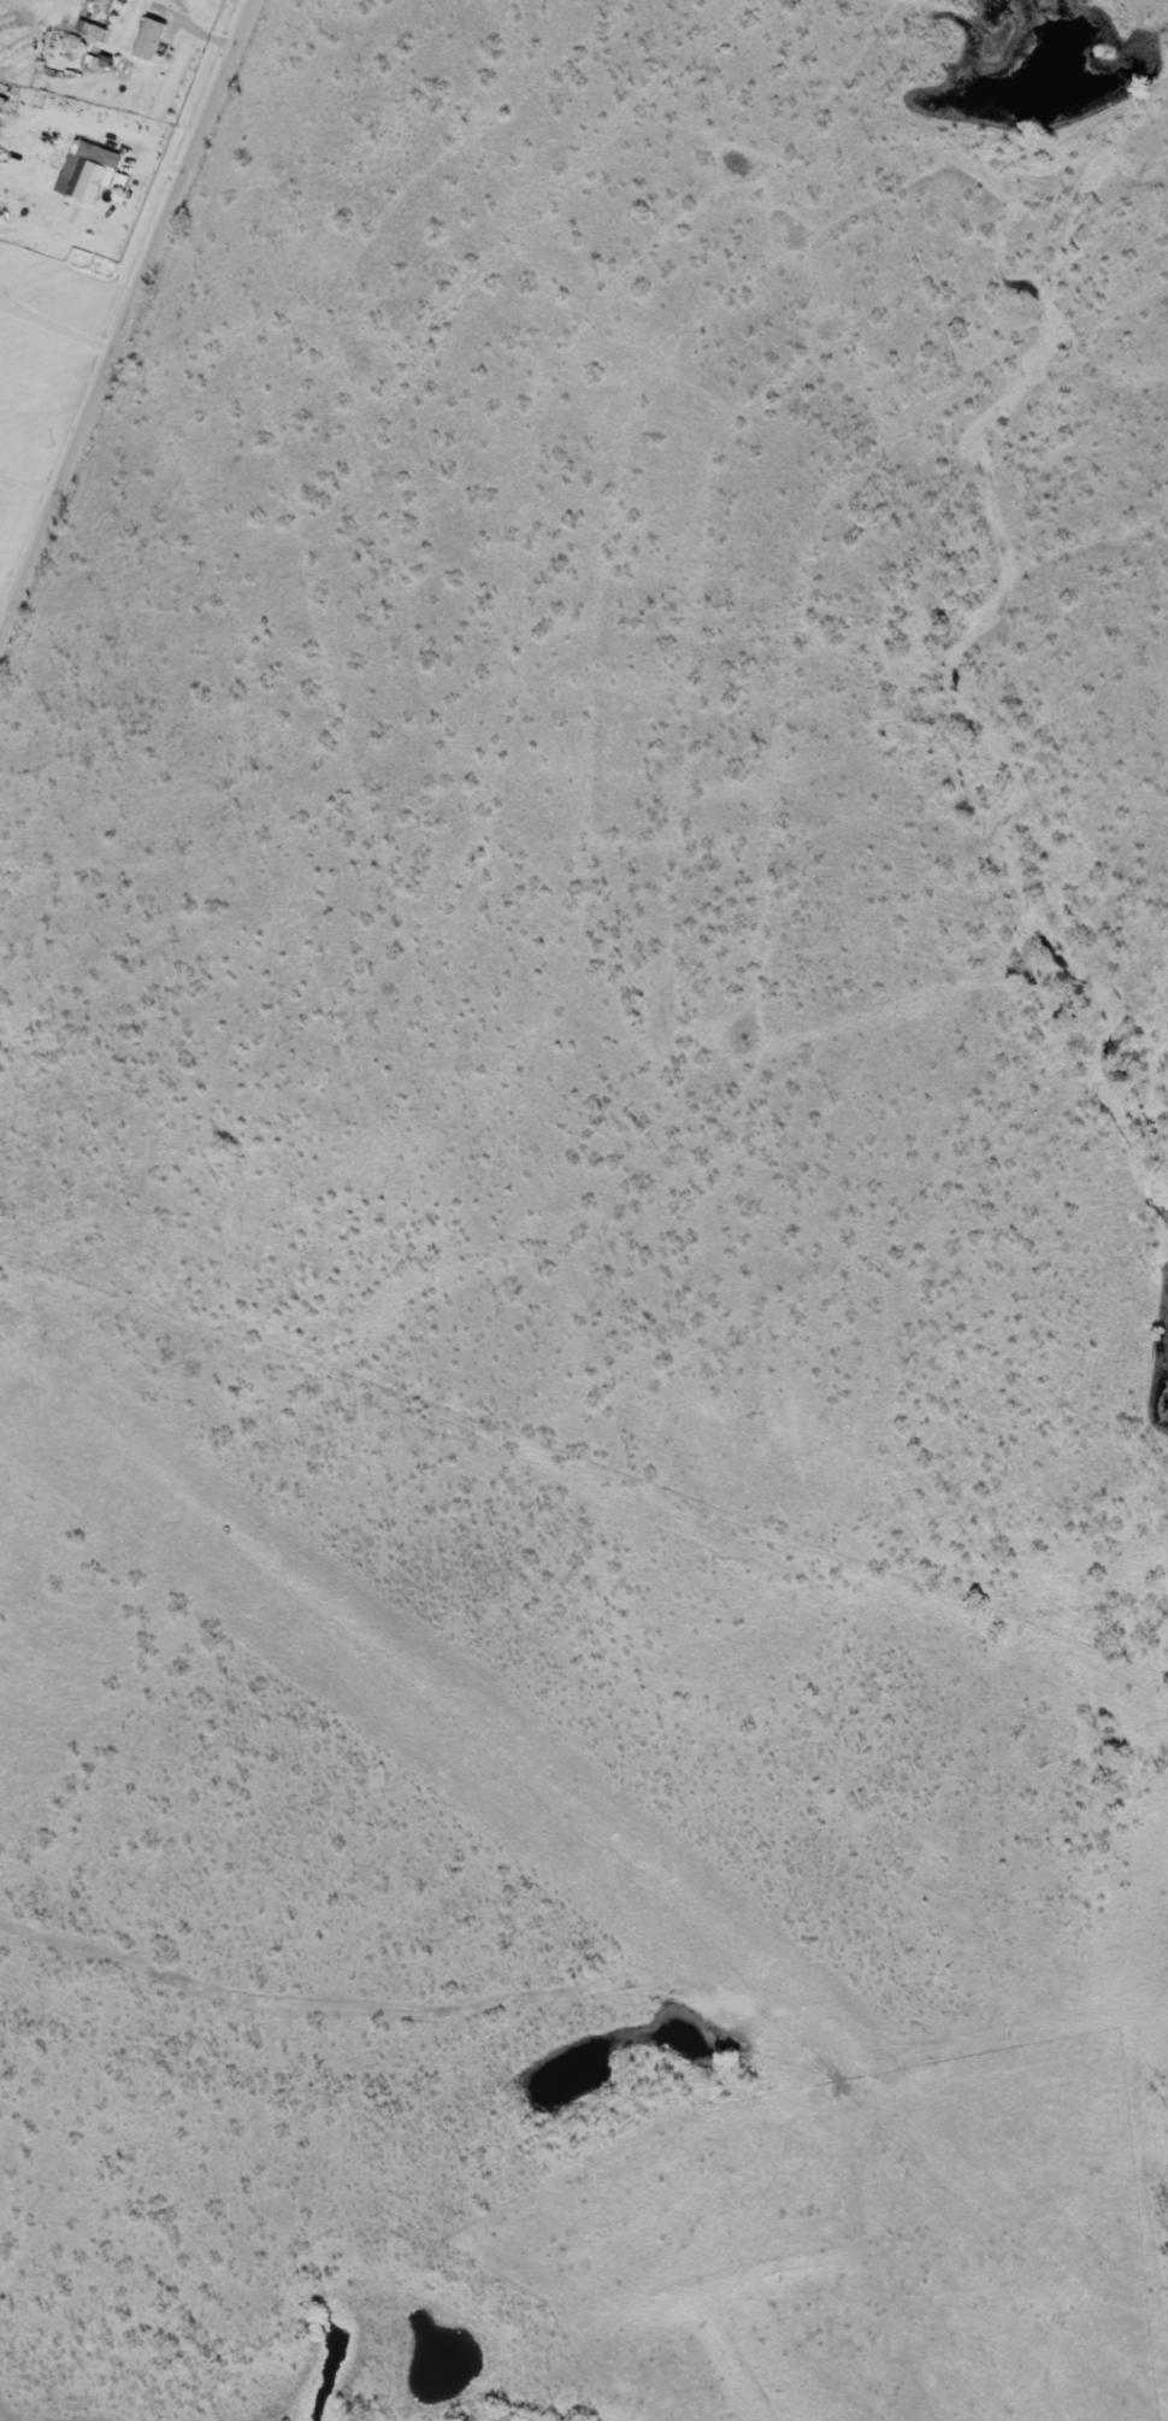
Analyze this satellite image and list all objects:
building: (151, 40)
road: (129, 323)
road: (58, 327)

